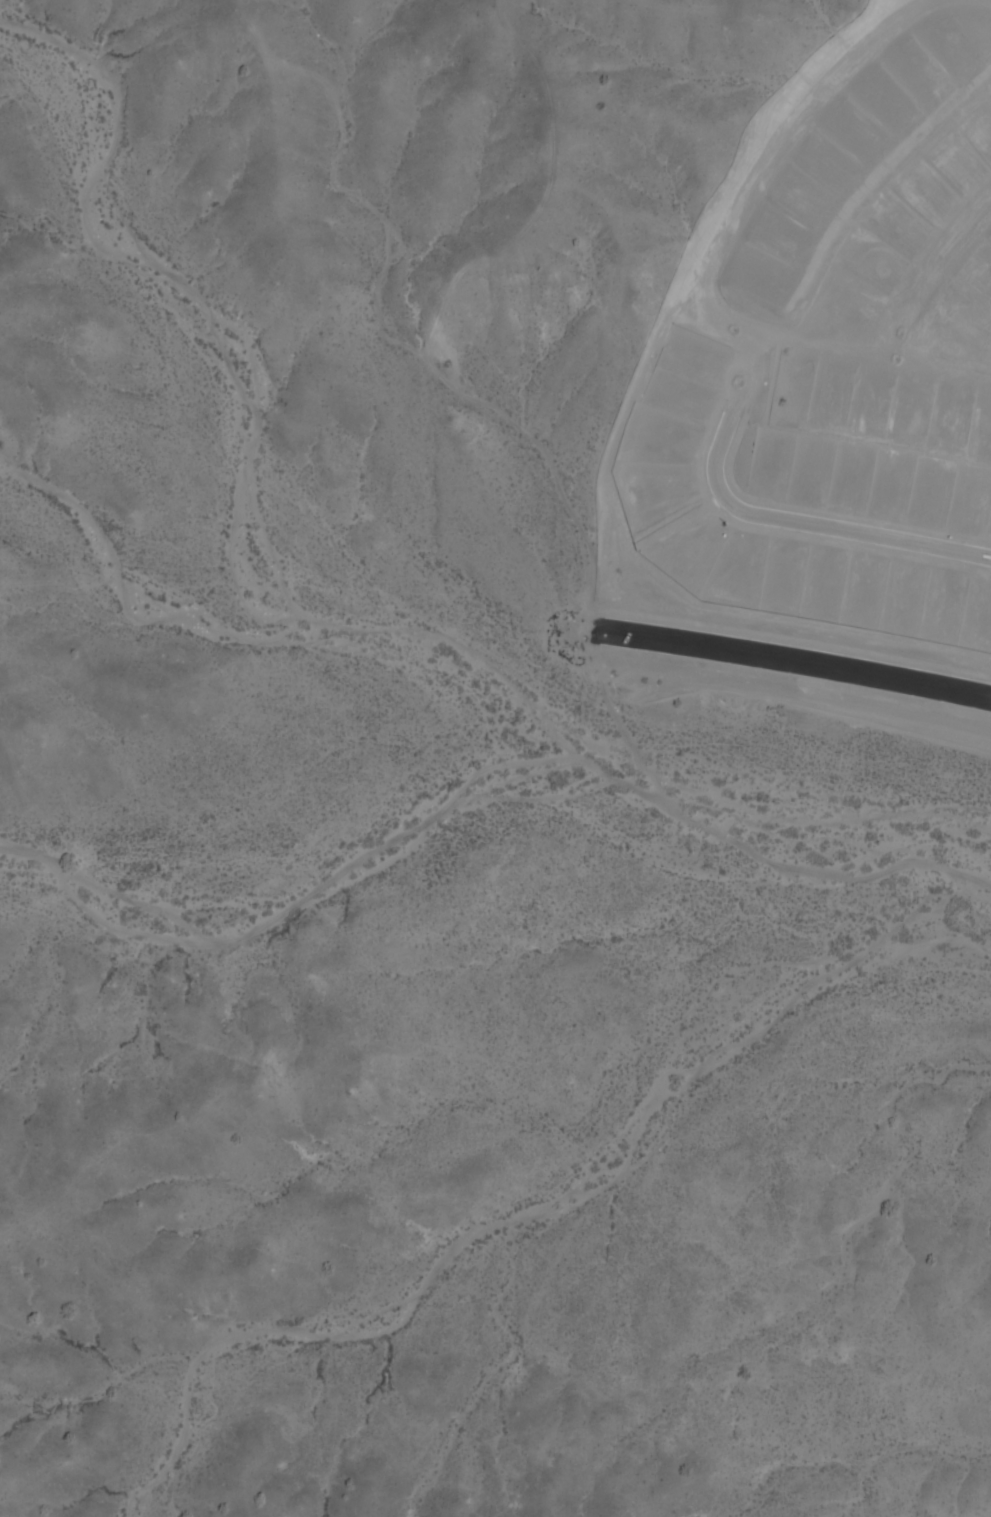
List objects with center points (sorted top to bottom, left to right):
road: (773, 152)
road: (934, 272)
road: (875, 350)
road: (767, 516)
road: (801, 661)

